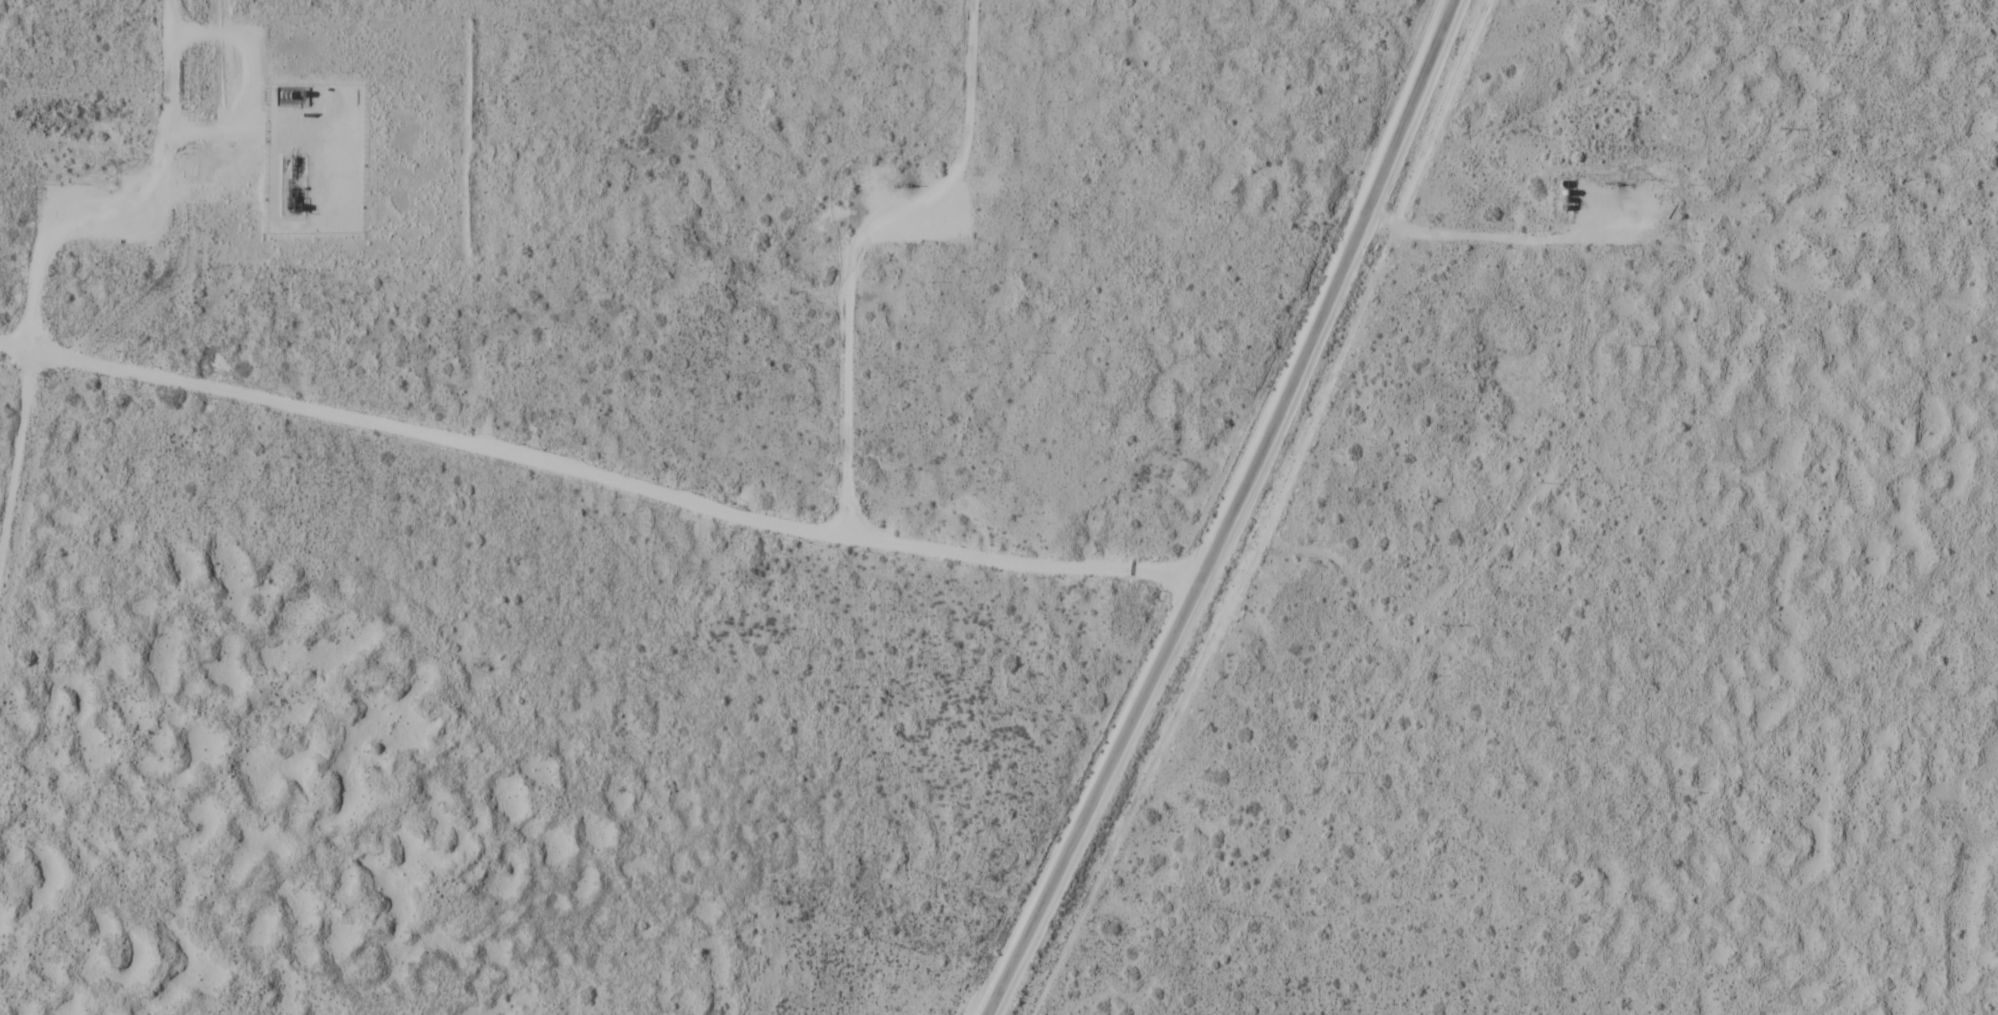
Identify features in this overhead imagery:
road: (127, 188)
road: (1475, 237)
road: (859, 244)
road: (17, 451)
road: (598, 482)
road: (1235, 512)

